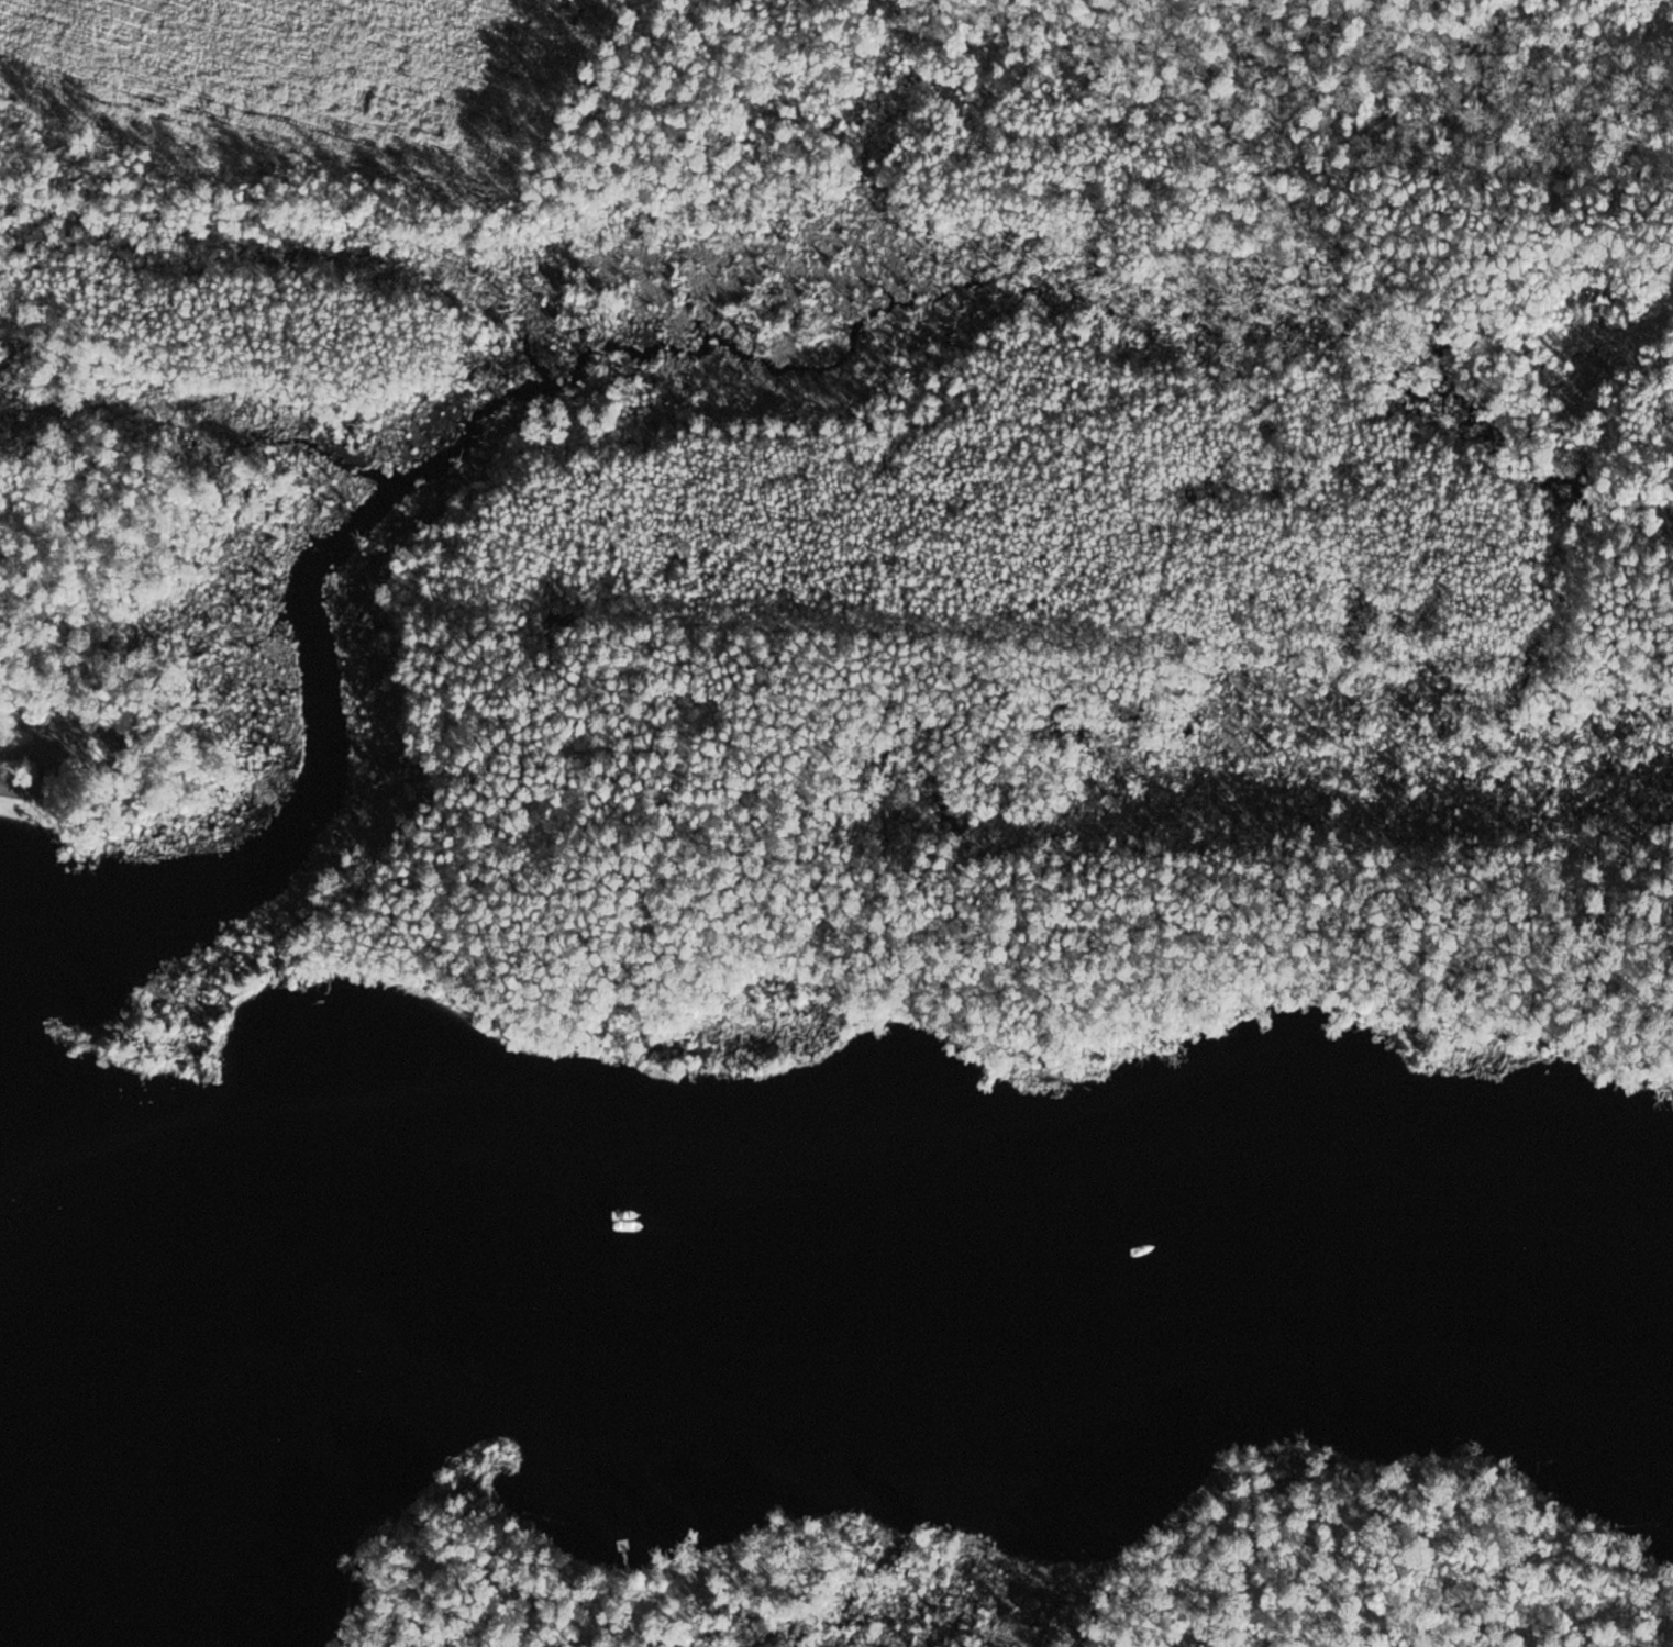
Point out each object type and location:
road: (63, 766)
road: (502, 1539)
road: (627, 1555)
road: (632, 1578)
road: (610, 1629)

